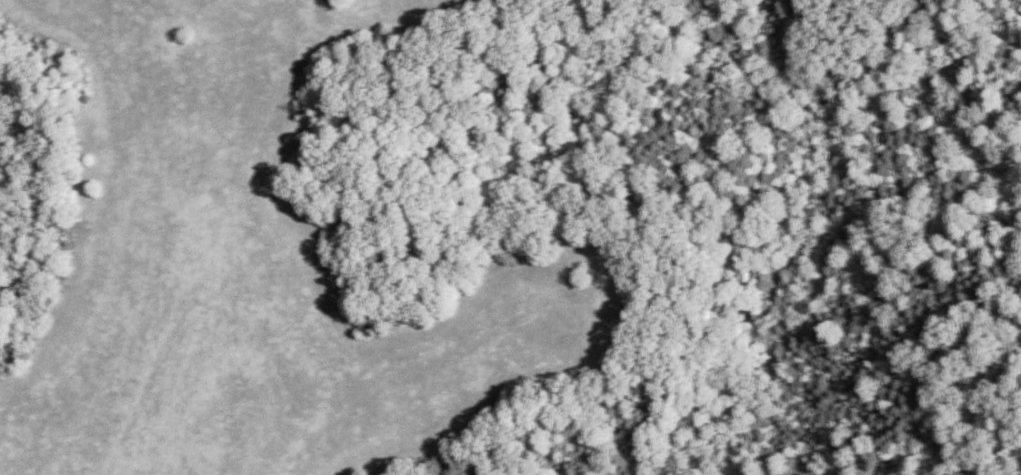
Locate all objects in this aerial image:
road: (973, 406)

